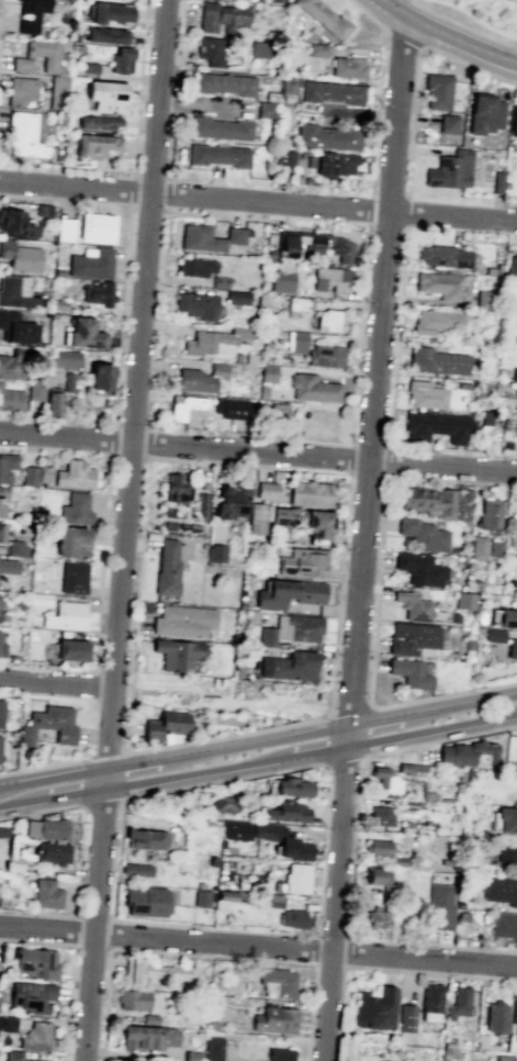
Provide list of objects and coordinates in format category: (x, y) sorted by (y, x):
building: (68, 0)
building: (277, 1)
road: (0, 2)
building: (108, 12)
building: (30, 14)
road: (366, 14)
park: (485, 14)
building: (323, 16)
building: (221, 18)
road: (474, 20)
road: (461, 26)
road: (179, 34)
building: (103, 35)
building: (75, 36)
road: (446, 36)
road: (402, 37)
building: (78, 47)
building: (259, 49)
building: (316, 49)
building: (209, 51)
building: (48, 56)
building: (120, 59)
building: (89, 67)
building: (347, 67)
road: (468, 67)
building: (224, 83)
building: (286, 86)
building: (20, 90)
building: (436, 90)
building: (330, 91)
building: (56, 92)
building: (104, 96)
building: (265, 109)
road: (375, 111)
building: (483, 114)
building: (59, 116)
road: (412, 120)
building: (513, 120)
building: (98, 122)
building: (447, 123)
building: (38, 126)
road: (136, 127)
building: (220, 129)
building: (23, 135)
building: (328, 136)
building: (95, 145)
building: (217, 155)
building: (284, 157)
building: (334, 164)
building: (450, 170)
building: (297, 179)
building: (306, 180)
building: (497, 182)
building: (314, 183)
road: (131, 188)
road: (167, 193)
road: (38, 198)
road: (258, 202)
road: (370, 209)
building: (43, 211)
road: (406, 212)
building: (16, 223)
building: (97, 227)
building: (65, 230)
building: (207, 237)
road: (513, 237)
building: (317, 245)
building: (20, 256)
building: (268, 256)
building: (443, 256)
building: (90, 264)
building: (512, 265)
road: (161, 267)
building: (194, 267)
building: (494, 269)
building: (58, 271)
building: (330, 279)
building: (92, 281)
building: (281, 281)
building: (220, 282)
building: (440, 284)
building: (16, 292)
building: (98, 293)
building: (236, 298)
building: (484, 300)
building: (300, 303)
building: (58, 305)
building: (196, 305)
road: (121, 315)
building: (329, 320)
building: (435, 321)
building: (16, 328)
building: (83, 334)
road: (358, 334)
road: (396, 337)
building: (215, 340)
building: (266, 342)
building: (297, 342)
building: (325, 356)
building: (237, 357)
building: (64, 358)
building: (250, 358)
building: (437, 360)
building: (9, 368)
building: (267, 372)
road: (375, 372)
building: (514, 373)
building: (99, 376)
building: (198, 378)
building: (67, 381)
building: (463, 384)
building: (313, 388)
building: (35, 391)
building: (425, 393)
building: (10, 399)
building: (52, 402)
building: (229, 406)
building: (187, 409)
building: (277, 410)
building: (486, 417)
building: (503, 423)
building: (435, 425)
building: (516, 438)
road: (112, 439)
road: (369, 445)
road: (452, 450)
road: (258, 453)
road: (350, 459)
road: (387, 460)
building: (7, 466)
building: (43, 473)
building: (74, 474)
road: (368, 474)
building: (29, 476)
building: (176, 489)
building: (266, 490)
building: (308, 493)
building: (2, 500)
building: (434, 501)
building: (228, 502)
building: (201, 505)
building: (75, 509)
building: (488, 515)
building: (281, 516)
building: (256, 517)
building: (314, 523)
road: (126, 530)
building: (1, 532)
building: (422, 535)
building: (71, 541)
building: (14, 547)
building: (476, 547)
building: (495, 548)
building: (216, 552)
road: (102, 561)
building: (303, 562)
building: (8, 566)
building: (167, 568)
building: (419, 568)
building: (72, 578)
building: (475, 585)
building: (288, 593)
building: (38, 597)
road: (376, 600)
building: (463, 600)
building: (20, 603)
building: (412, 605)
building: (65, 615)
building: (3, 616)
building: (507, 617)
building: (183, 619)
building: (291, 629)
building: (493, 635)
building: (412, 638)
building: (512, 648)
building: (71, 649)
building: (2, 650)
building: (177, 654)
building: (12, 658)
building: (289, 666)
building: (408, 672)
road: (95, 679)
road: (58, 683)
road: (481, 700)
building: (1, 711)
road: (350, 712)
road: (396, 717)
road: (507, 717)
road: (304, 721)
building: (47, 724)
building: (165, 724)
road: (422, 733)
road: (348, 736)
building: (0, 738)
road: (274, 740)
road: (109, 753)
building: (467, 753)
road: (299, 755)
road: (344, 760)
road: (155, 761)
road: (43, 764)
building: (409, 768)
road: (358, 770)
road: (65, 775)
road: (179, 775)
building: (460, 775)
building: (385, 779)
road: (10, 784)
building: (290, 786)
building: (457, 788)
road: (328, 790)
road: (56, 796)
road: (99, 802)
building: (224, 803)
building: (407, 804)
road: (2, 805)
road: (37, 812)
building: (285, 812)
building: (380, 815)
building: (506, 819)
building: (427, 825)
building: (46, 828)
building: (235, 829)
building: (3, 831)
building: (145, 838)
building: (283, 841)
building: (376, 847)
building: (52, 852)
building: (507, 857)
building: (212, 861)
building: (398, 861)
building: (14, 863)
building: (136, 869)
building: (374, 875)
building: (296, 879)
building: (200, 885)
building: (498, 890)
building: (45, 893)
building: (225, 896)
building: (201, 897)
building: (147, 901)
building: (1, 902)
road: (335, 903)
building: (458, 904)
building: (439, 906)
road: (38, 913)
building: (461, 916)
building: (292, 918)
building: (373, 918)
building: (504, 925)
road: (76, 930)
road: (109, 932)
road: (330, 934)
road: (36, 942)
road: (435, 945)
road: (258, 946)
road: (91, 947)
road: (315, 949)
road: (351, 952)
road: (203, 956)
building: (35, 962)
road: (328, 964)
road: (382, 970)
building: (159, 972)
building: (277, 982)
building: (31, 996)
building: (430, 997)
building: (133, 998)
building: (458, 1002)
road: (68, 1003)
building: (374, 1008)
building: (514, 1014)
building: (405, 1017)
building: (495, 1017)
building: (149, 1018)
building: (274, 1019)
building: (7, 1023)
building: (212, 1025)
building: (35, 1037)
building: (147, 1037)
building: (481, 1040)
building: (449, 1045)
building: (213, 1048)
building: (279, 1054)
building: (191, 1056)
building: (14, 1057)
building: (504, 1058)
building: (123, 1060)

